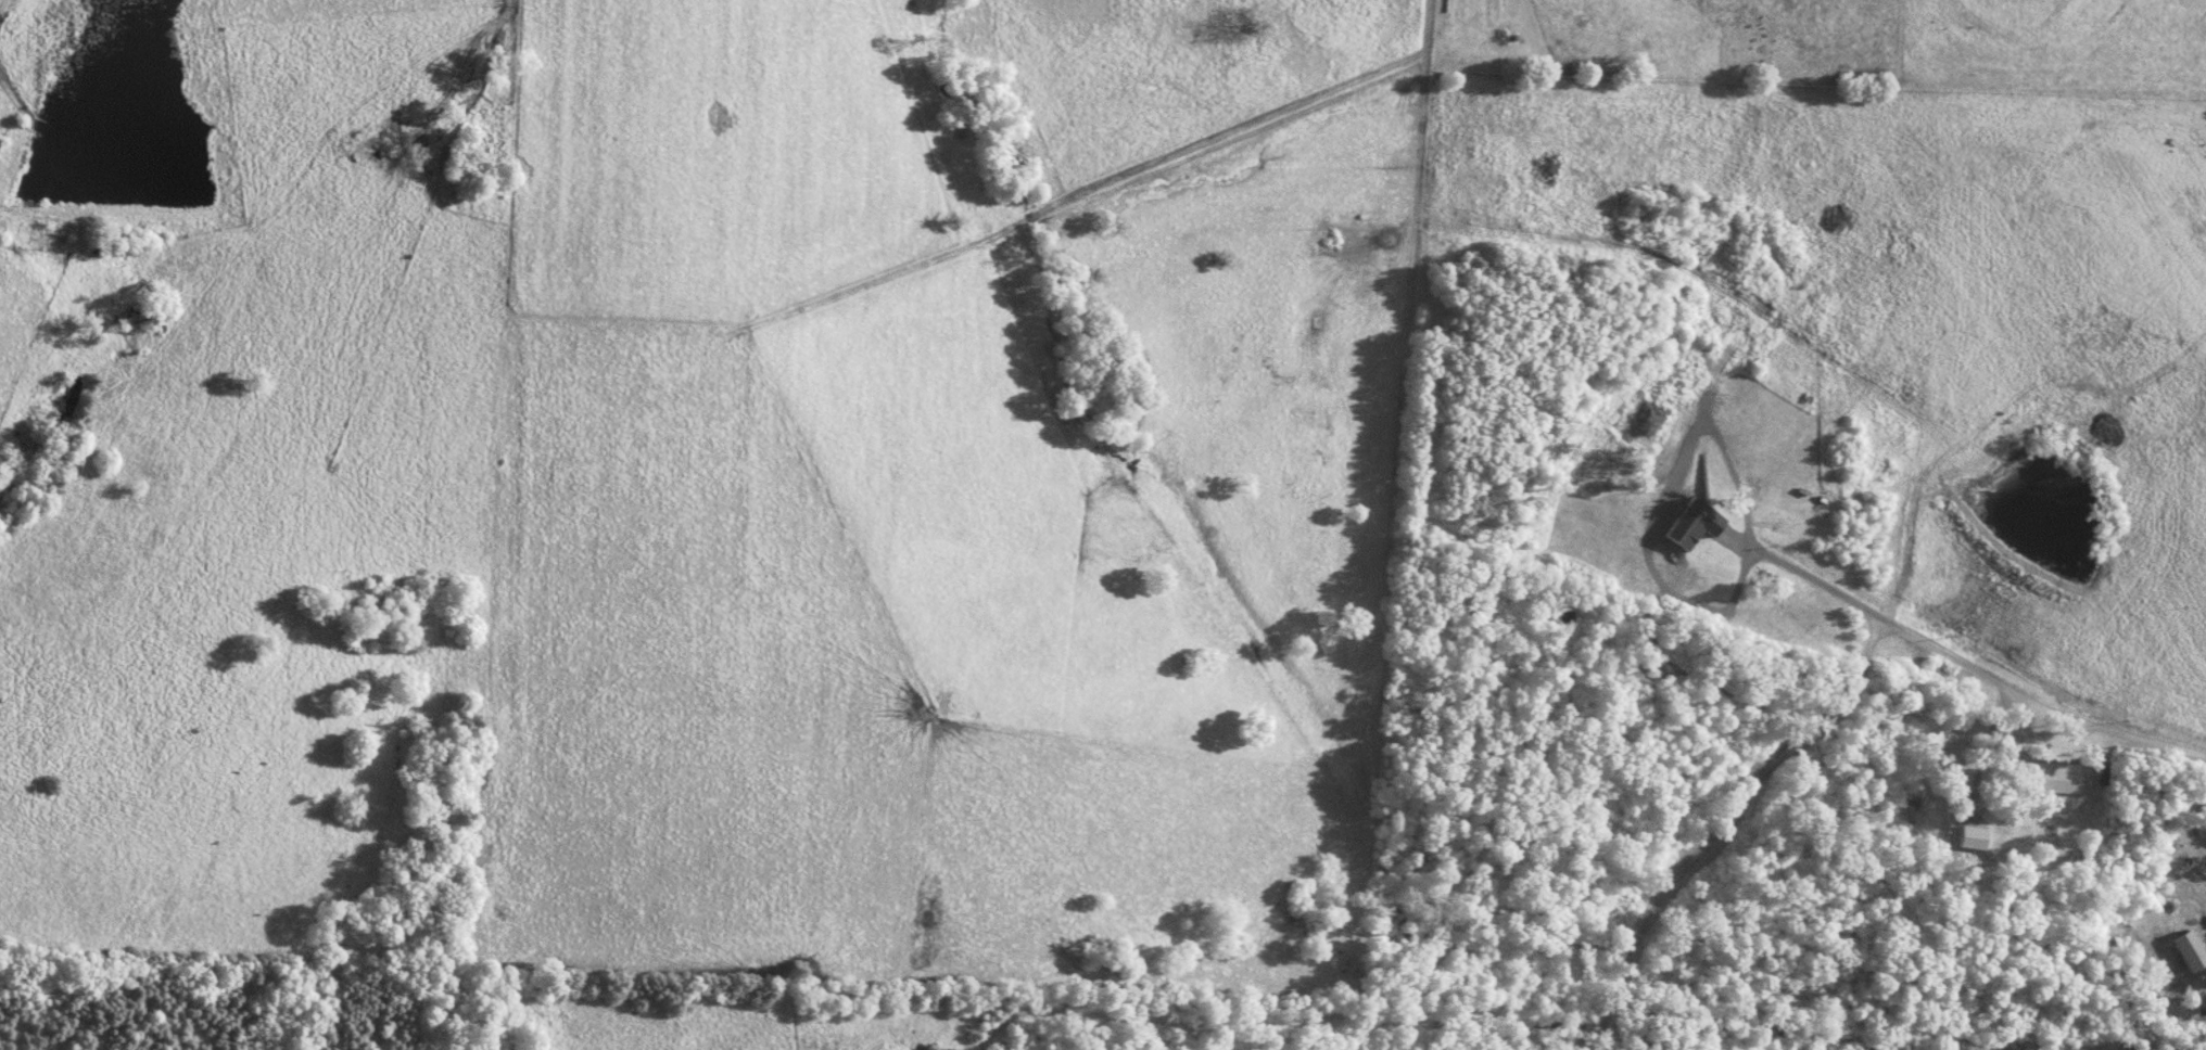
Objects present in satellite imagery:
building: (724, 119)
building: (2189, 949)

